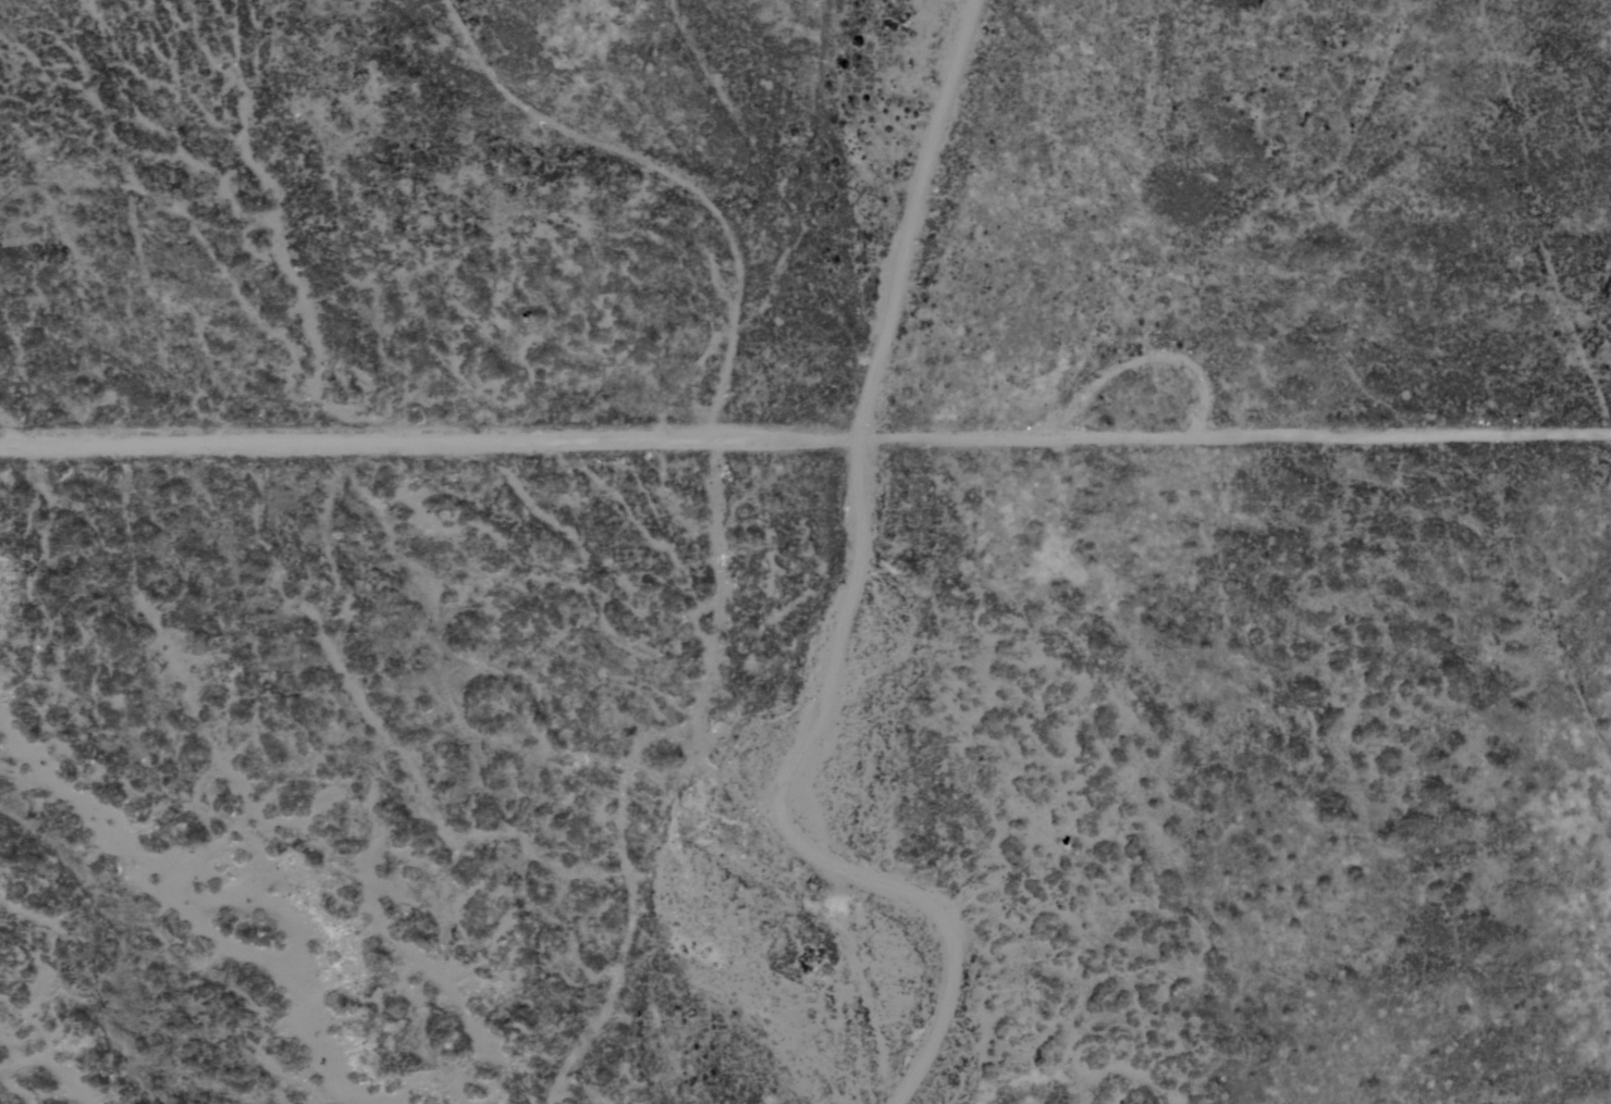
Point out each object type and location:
road: (922, 223)
road: (804, 446)
road: (770, 818)

